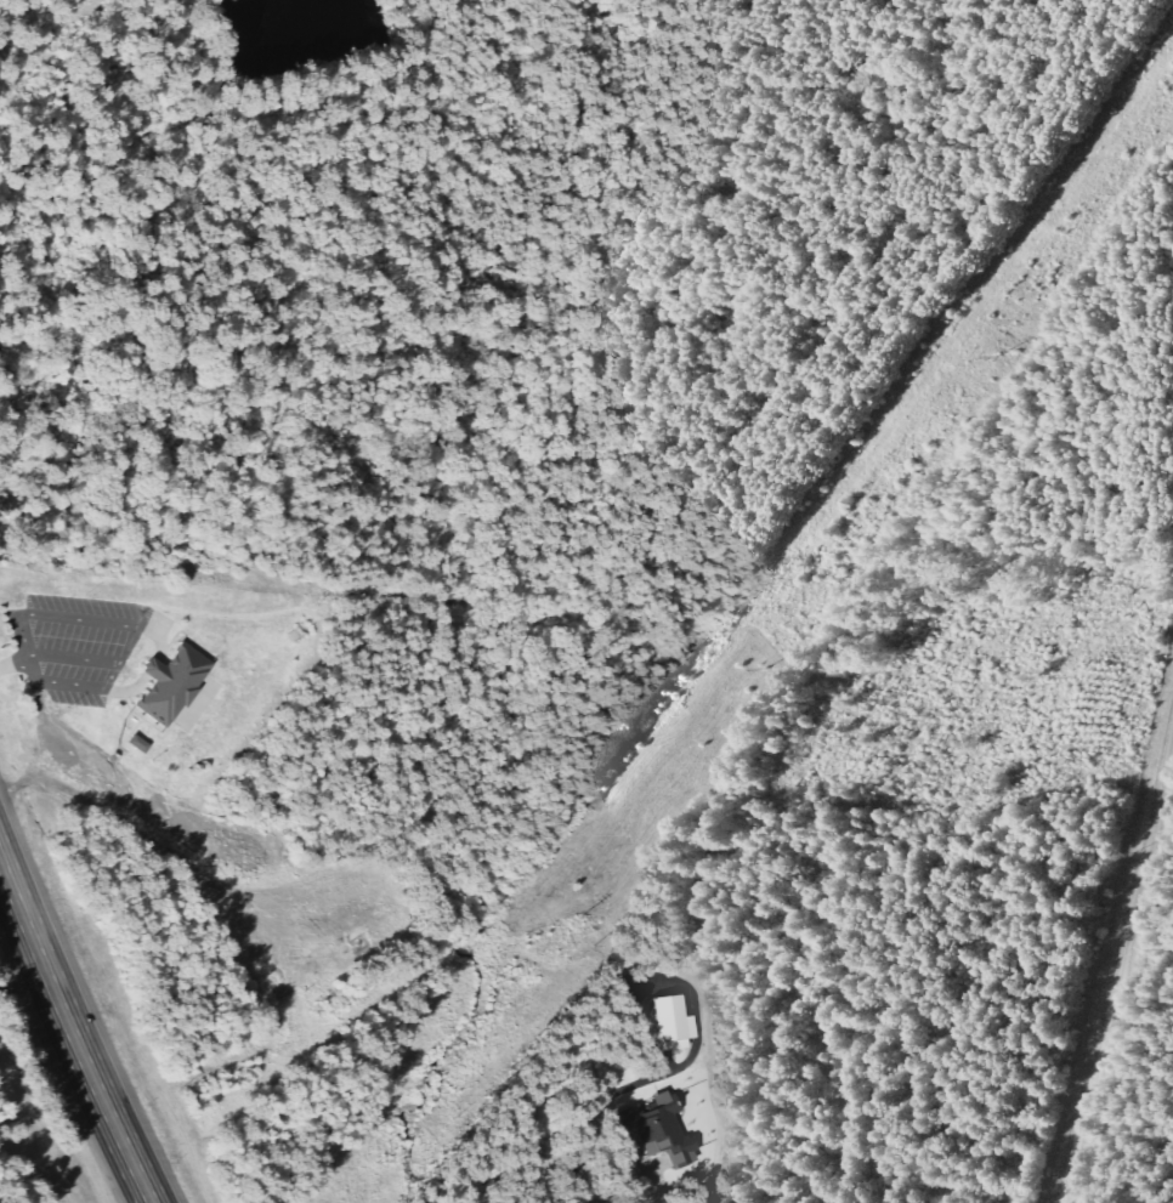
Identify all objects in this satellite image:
building: (177, 683)
building: (142, 744)
road: (1118, 976)
building: (678, 1022)
road: (73, 1032)
building: (665, 1130)

